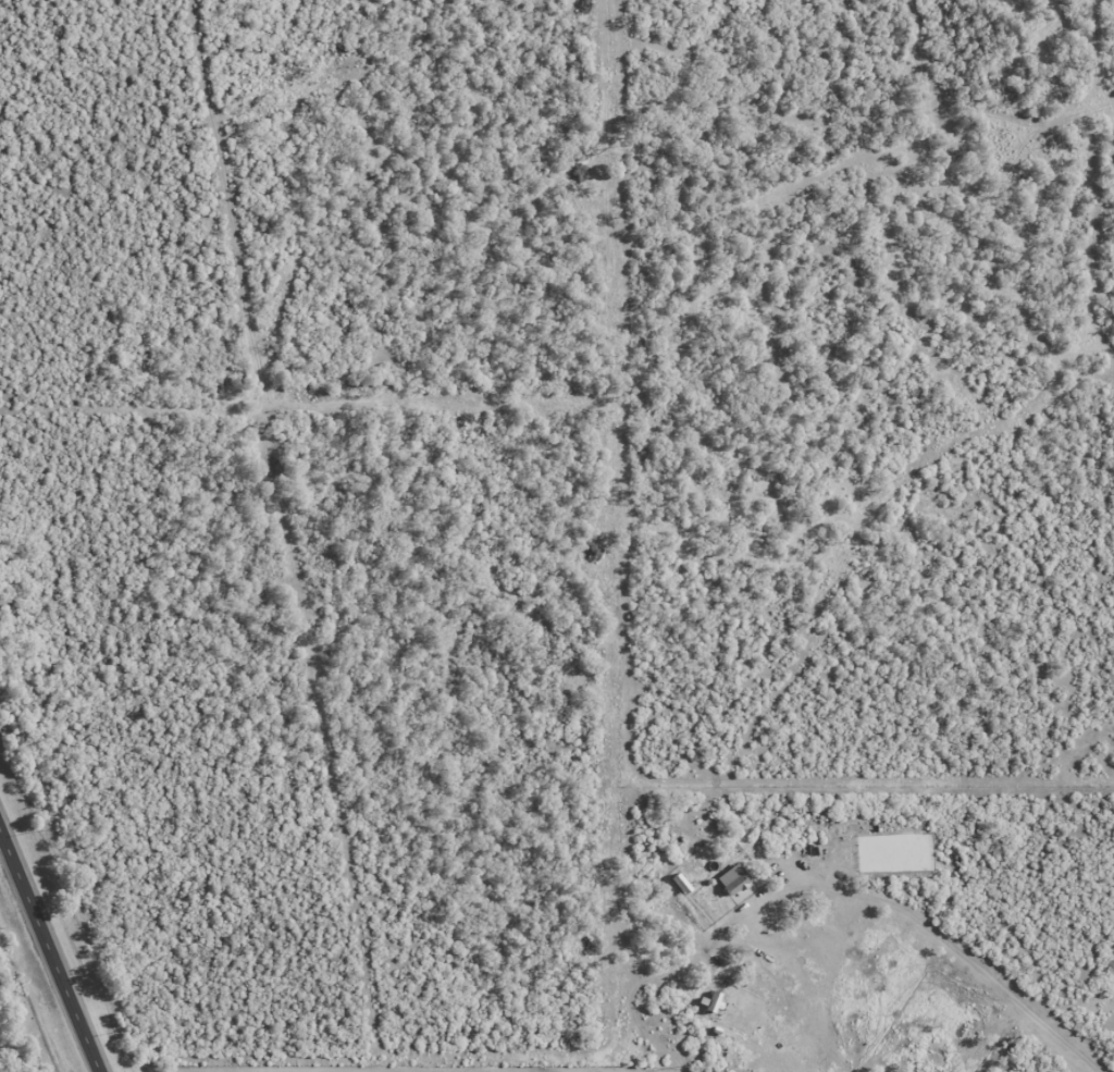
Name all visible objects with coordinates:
building: (733, 886)
road: (944, 939)
building: (775, 942)
road: (51, 946)

